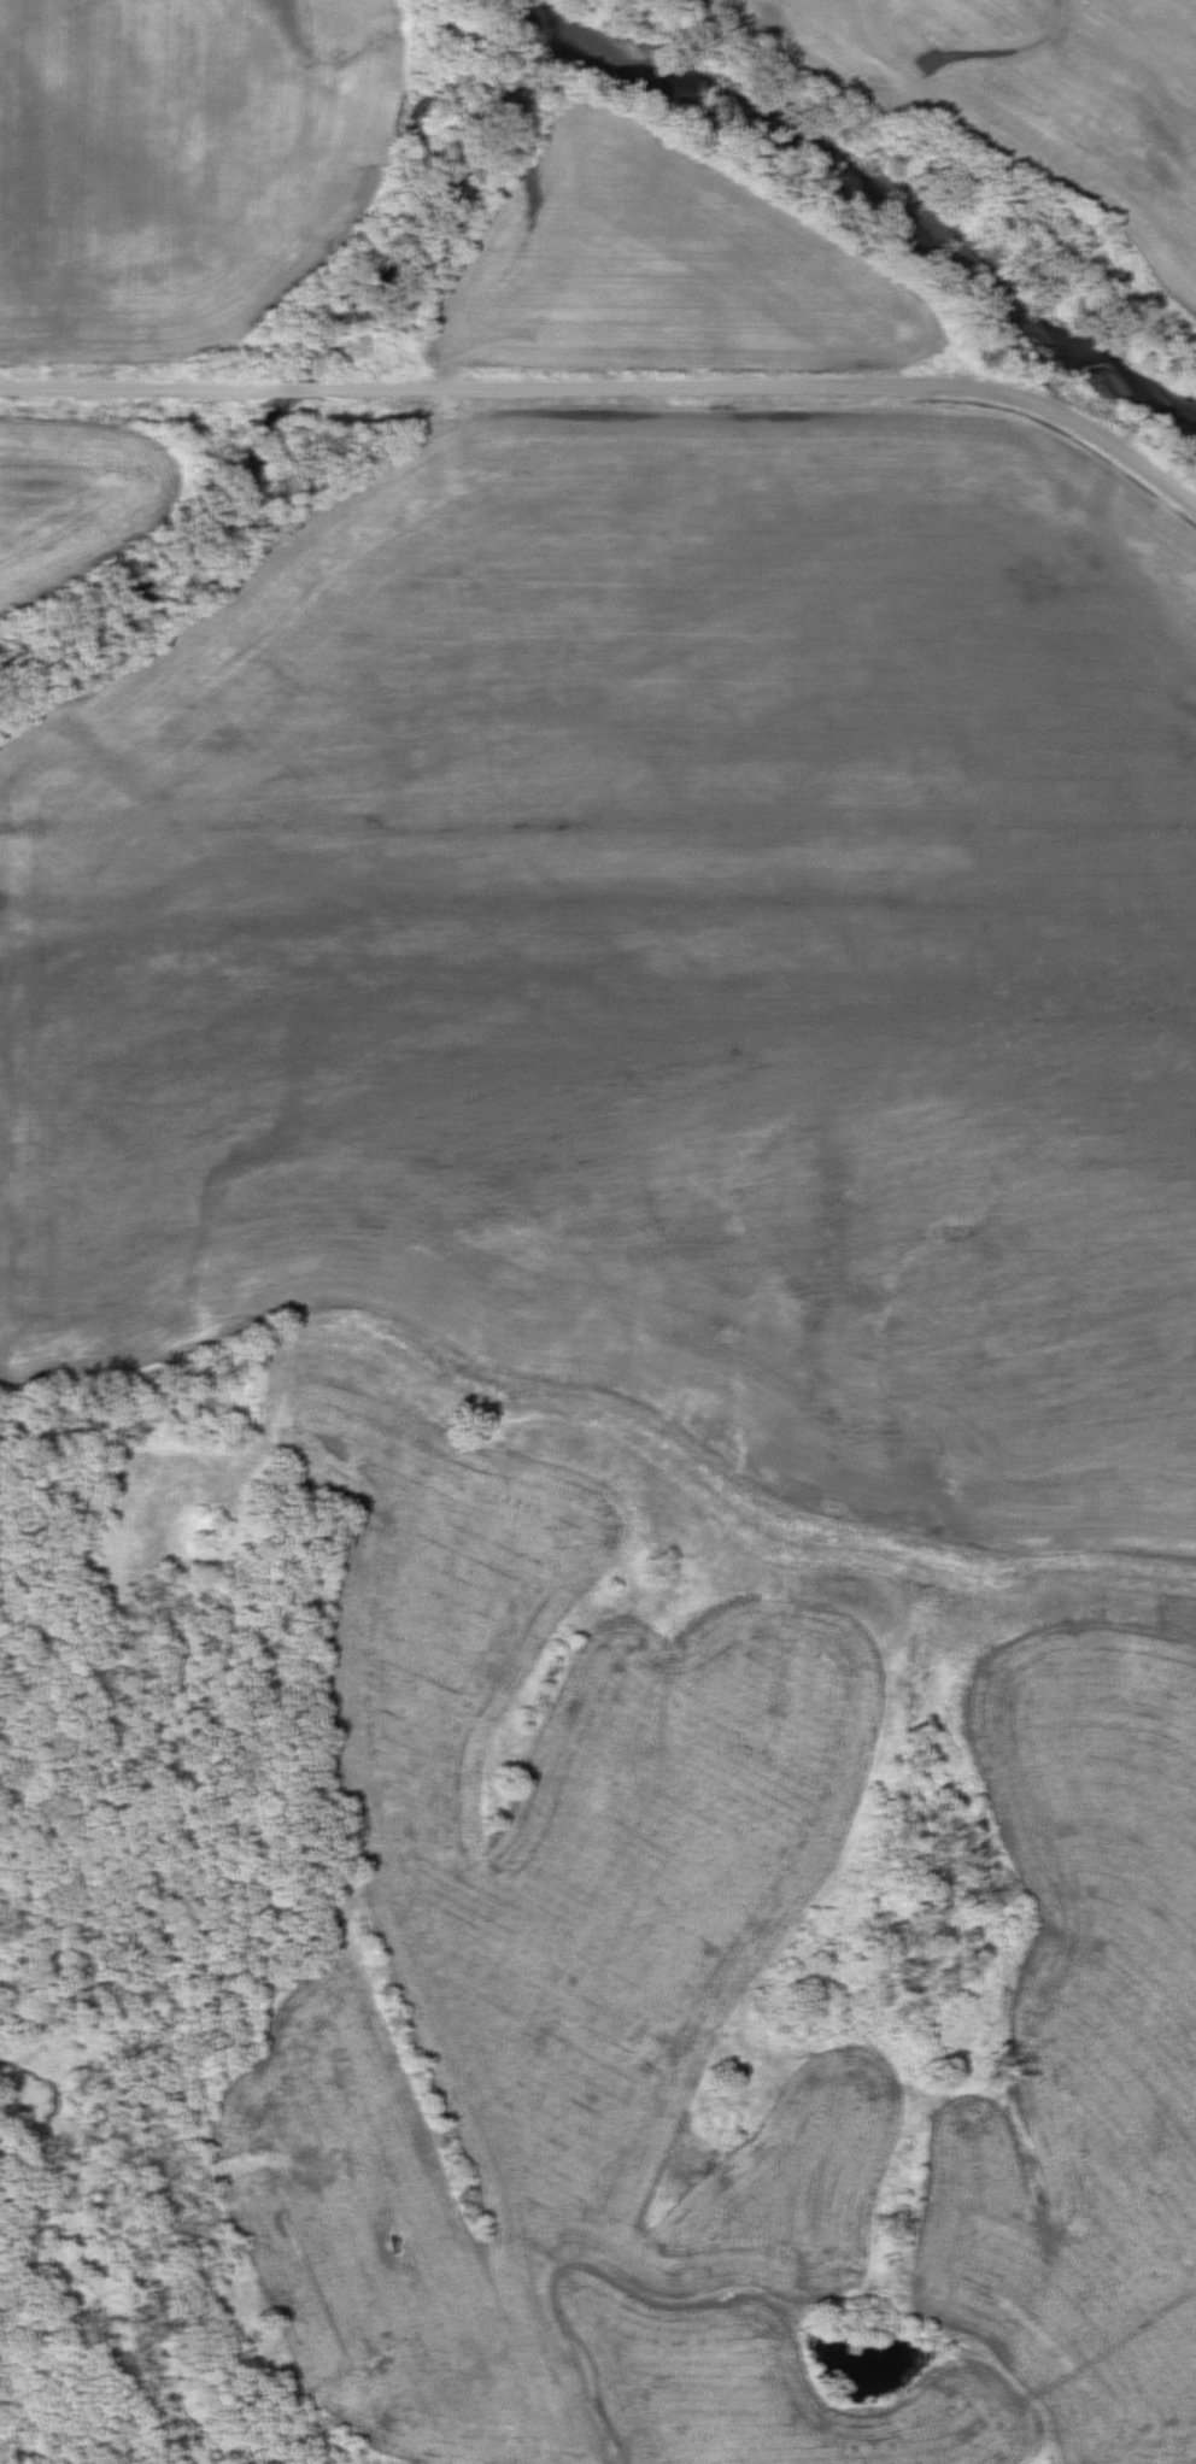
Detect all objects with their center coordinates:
road: (614, 377)

